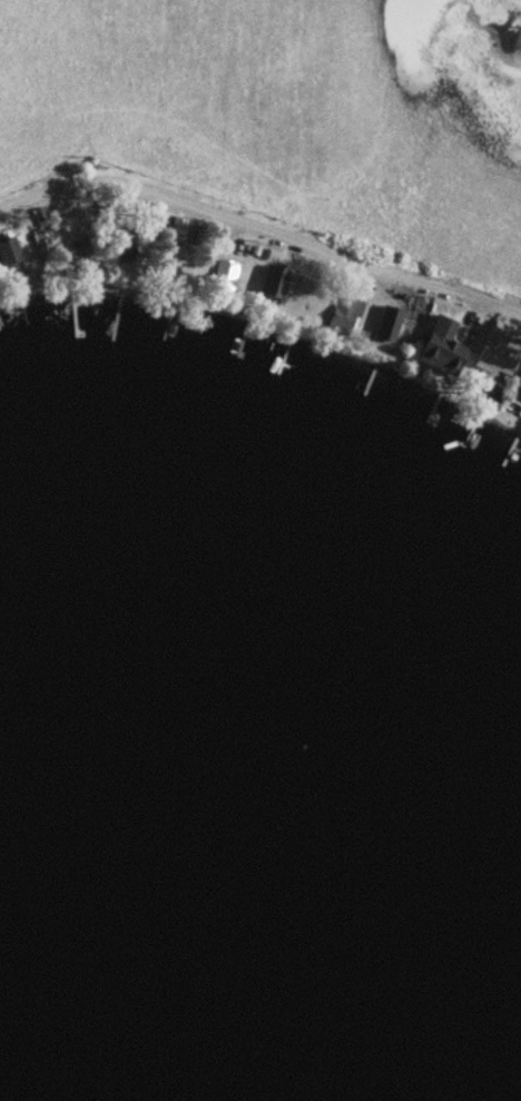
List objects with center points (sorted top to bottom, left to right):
road: (259, 225)
building: (45, 245)
building: (124, 248)
building: (8, 255)
building: (226, 276)
building: (275, 282)
building: (346, 314)
building: (383, 333)
building: (438, 347)
building: (495, 352)
building: (517, 390)

